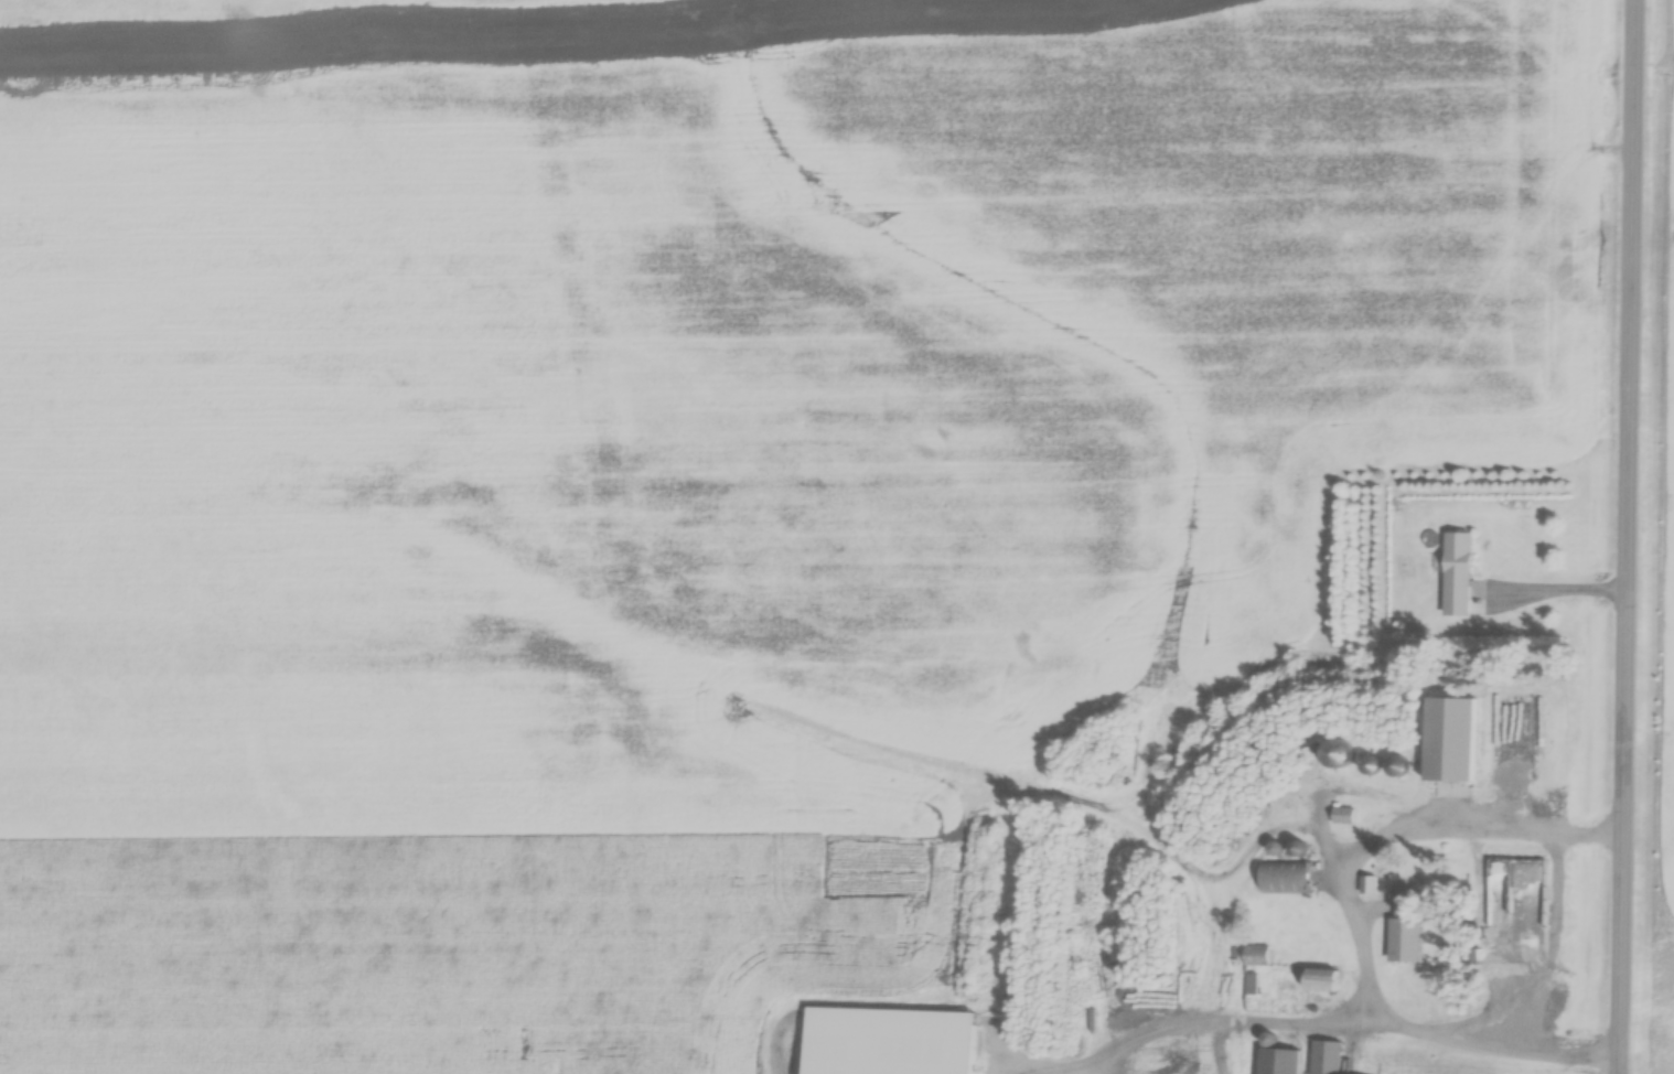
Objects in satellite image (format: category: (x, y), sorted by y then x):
road: (1635, 537)
building: (1450, 569)
building: (1439, 741)
building: (1544, 748)
building: (1275, 880)
building: (1517, 890)
building: (1319, 1059)
building: (1271, 1063)

